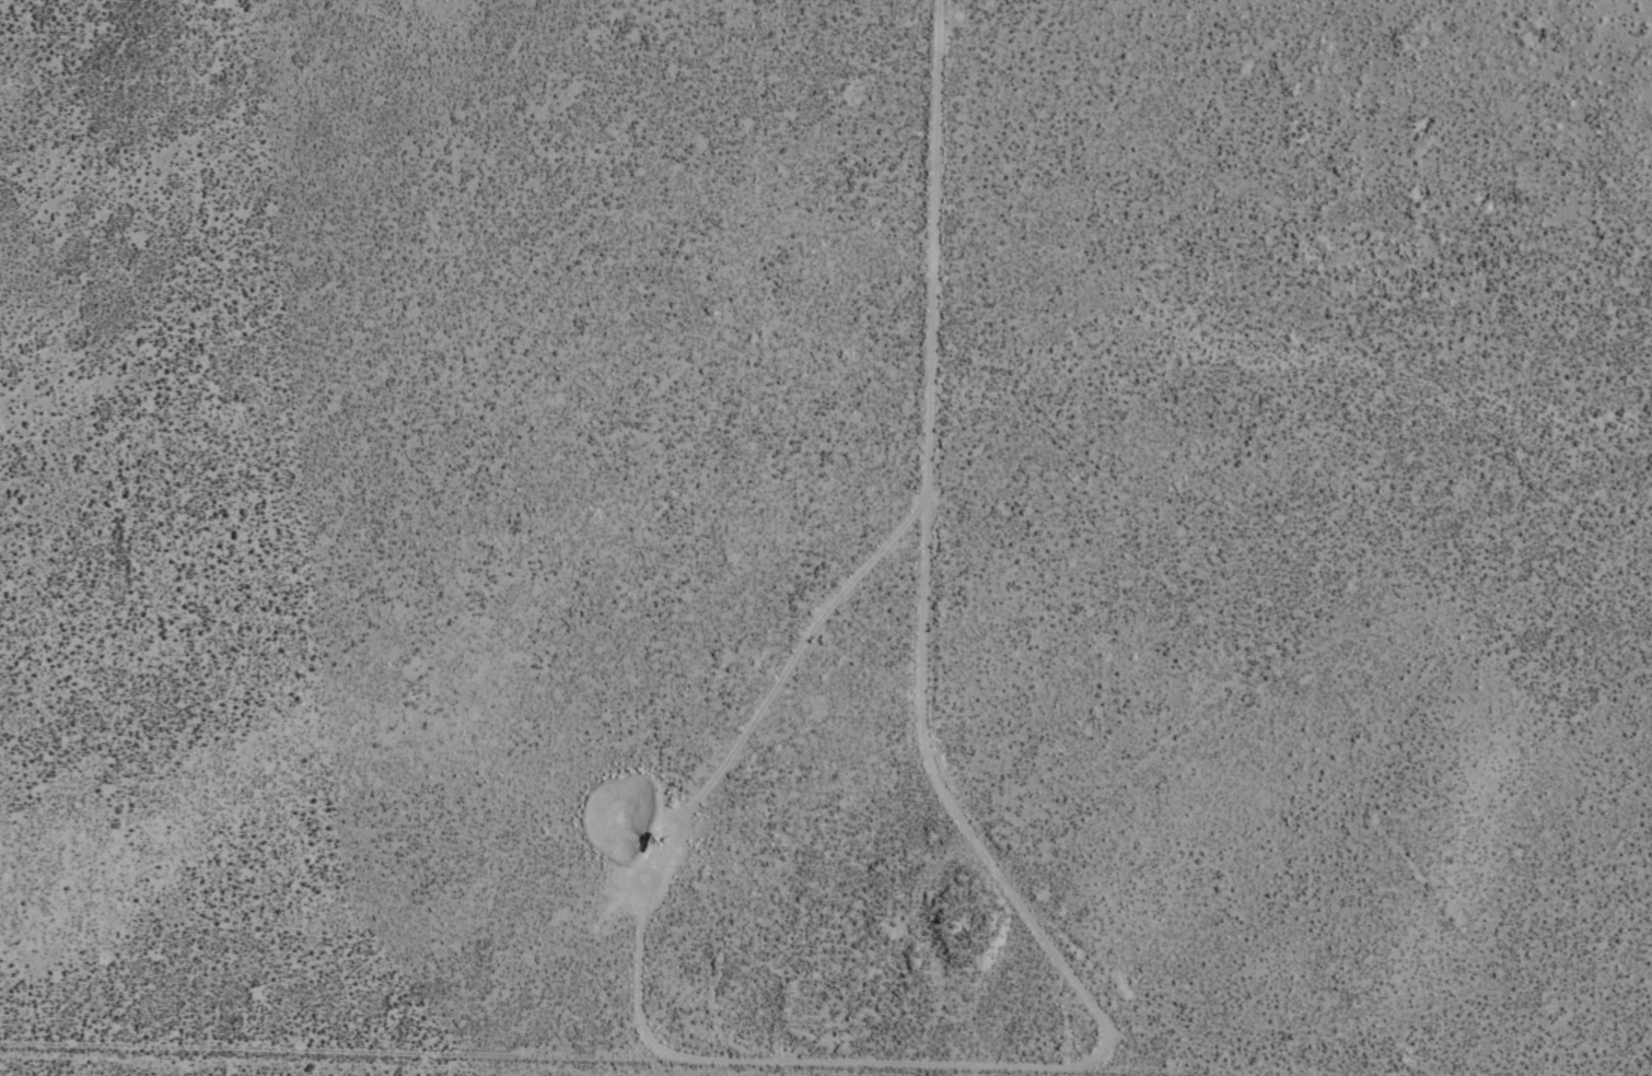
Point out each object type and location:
crop: (1051, 346)
crop: (473, 1031)

